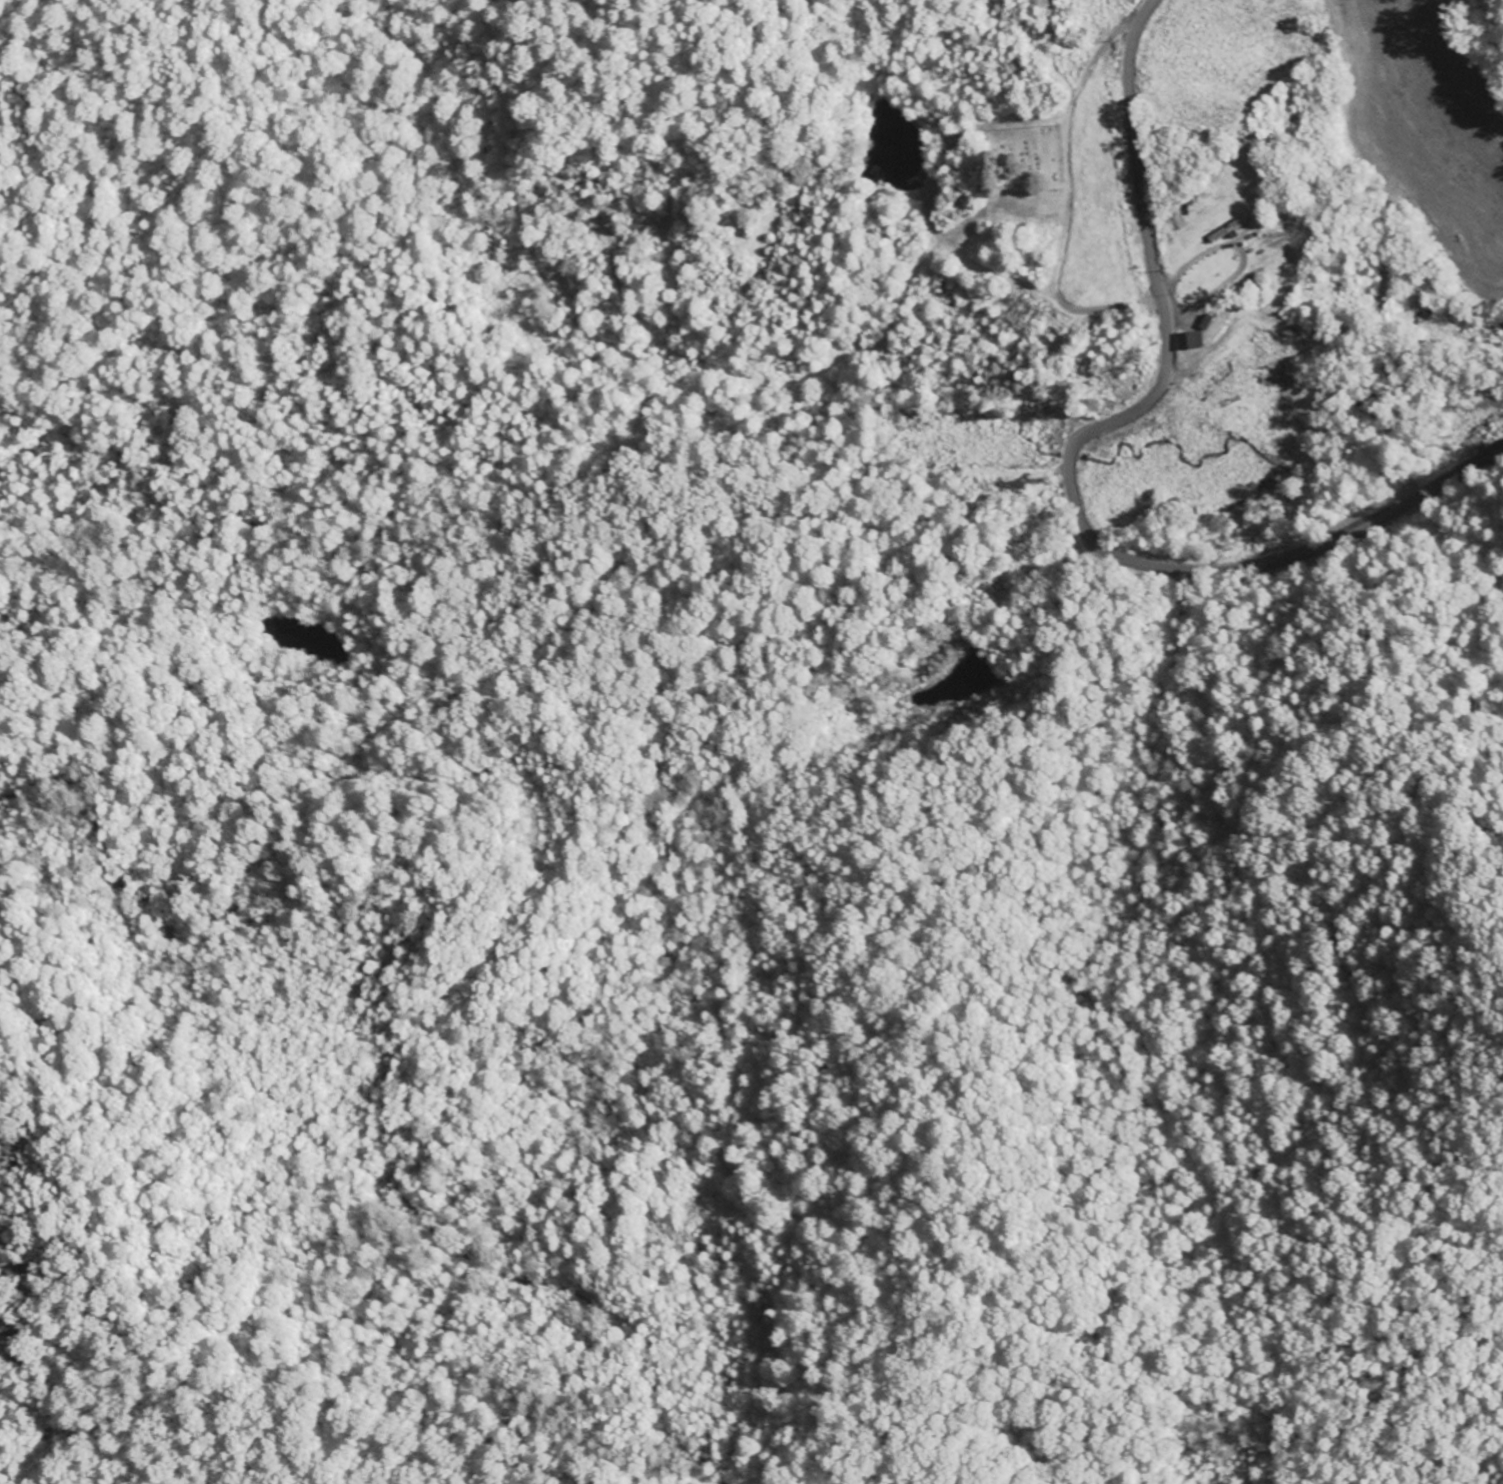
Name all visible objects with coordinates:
road: (1068, 468)

